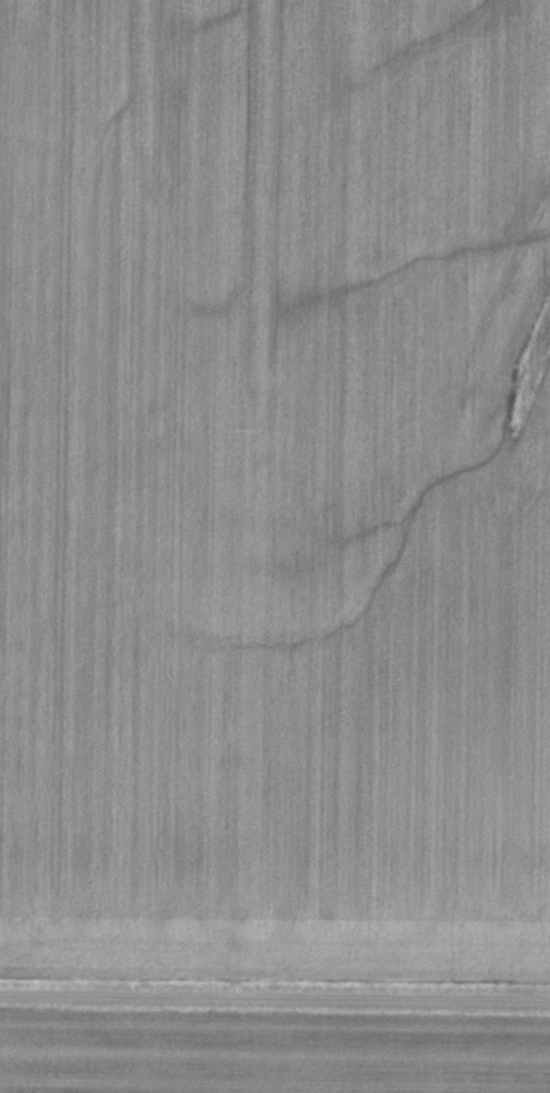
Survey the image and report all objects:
road: (275, 999)

